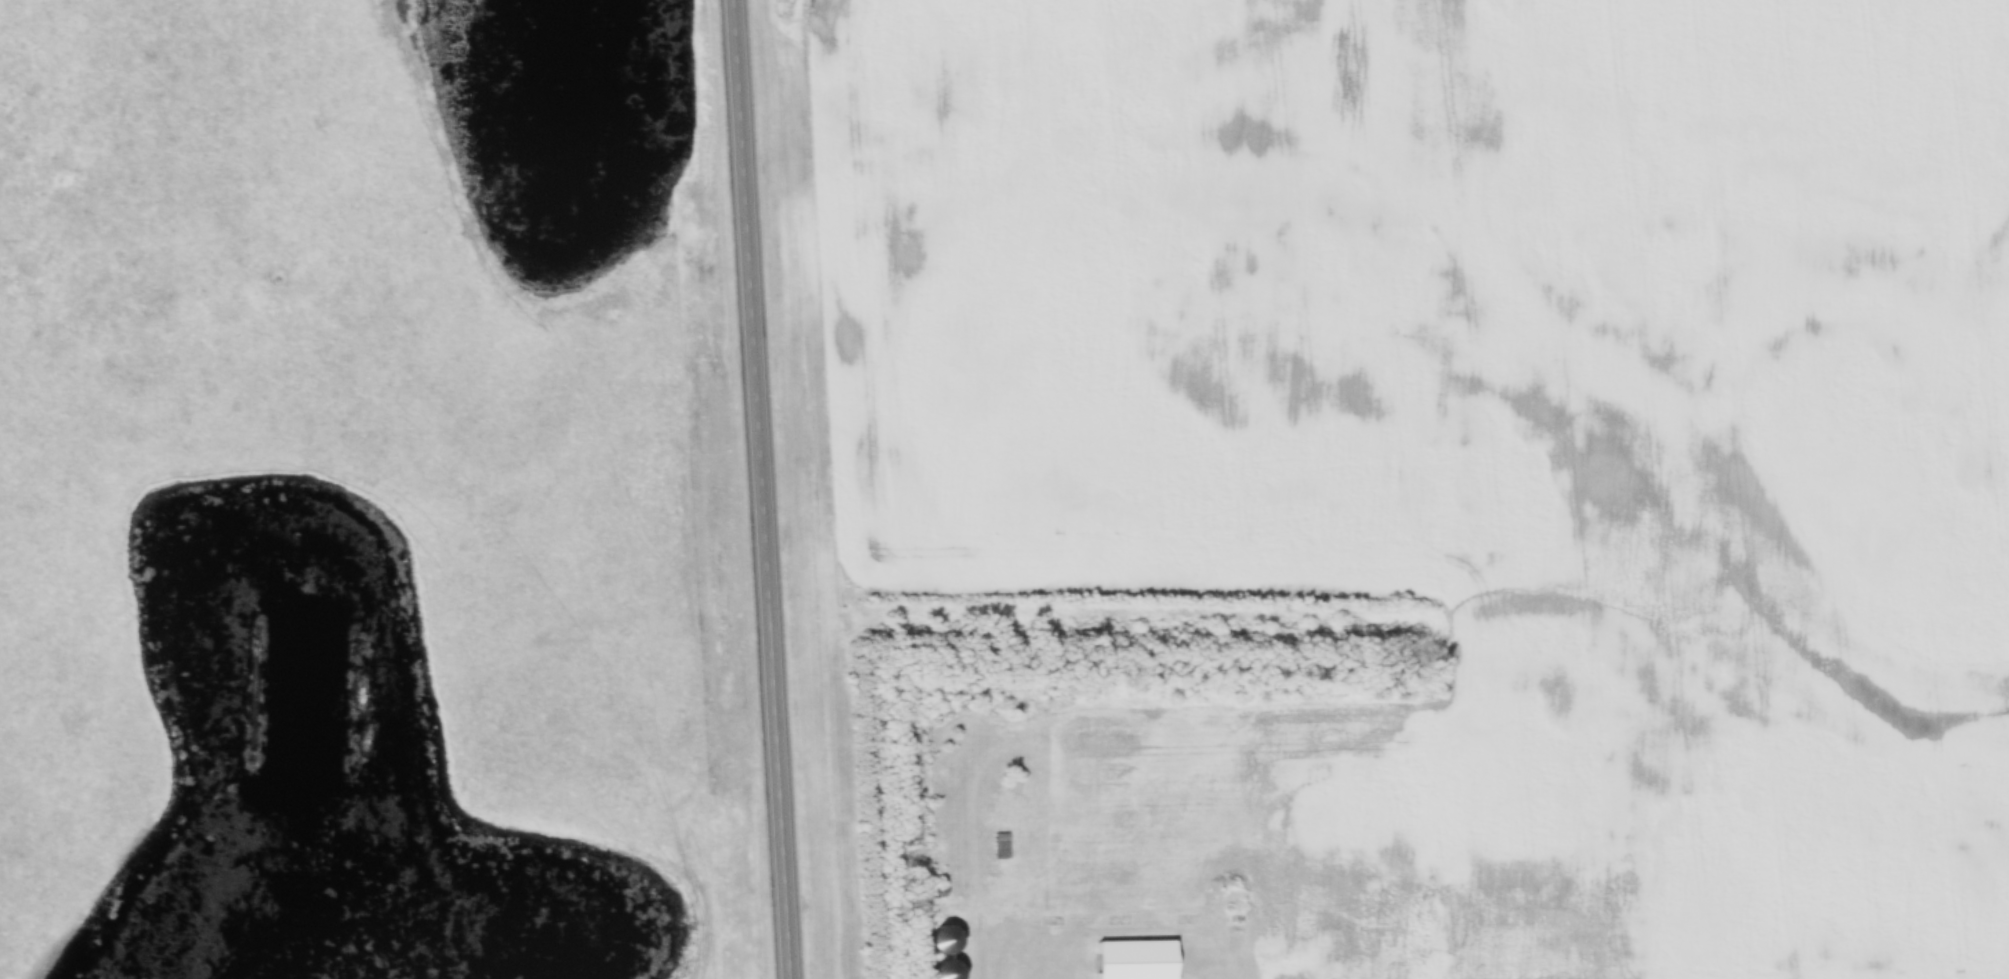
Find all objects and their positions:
road: (763, 489)
building: (1001, 845)
building: (942, 937)
building: (1133, 959)
building: (943, 969)

